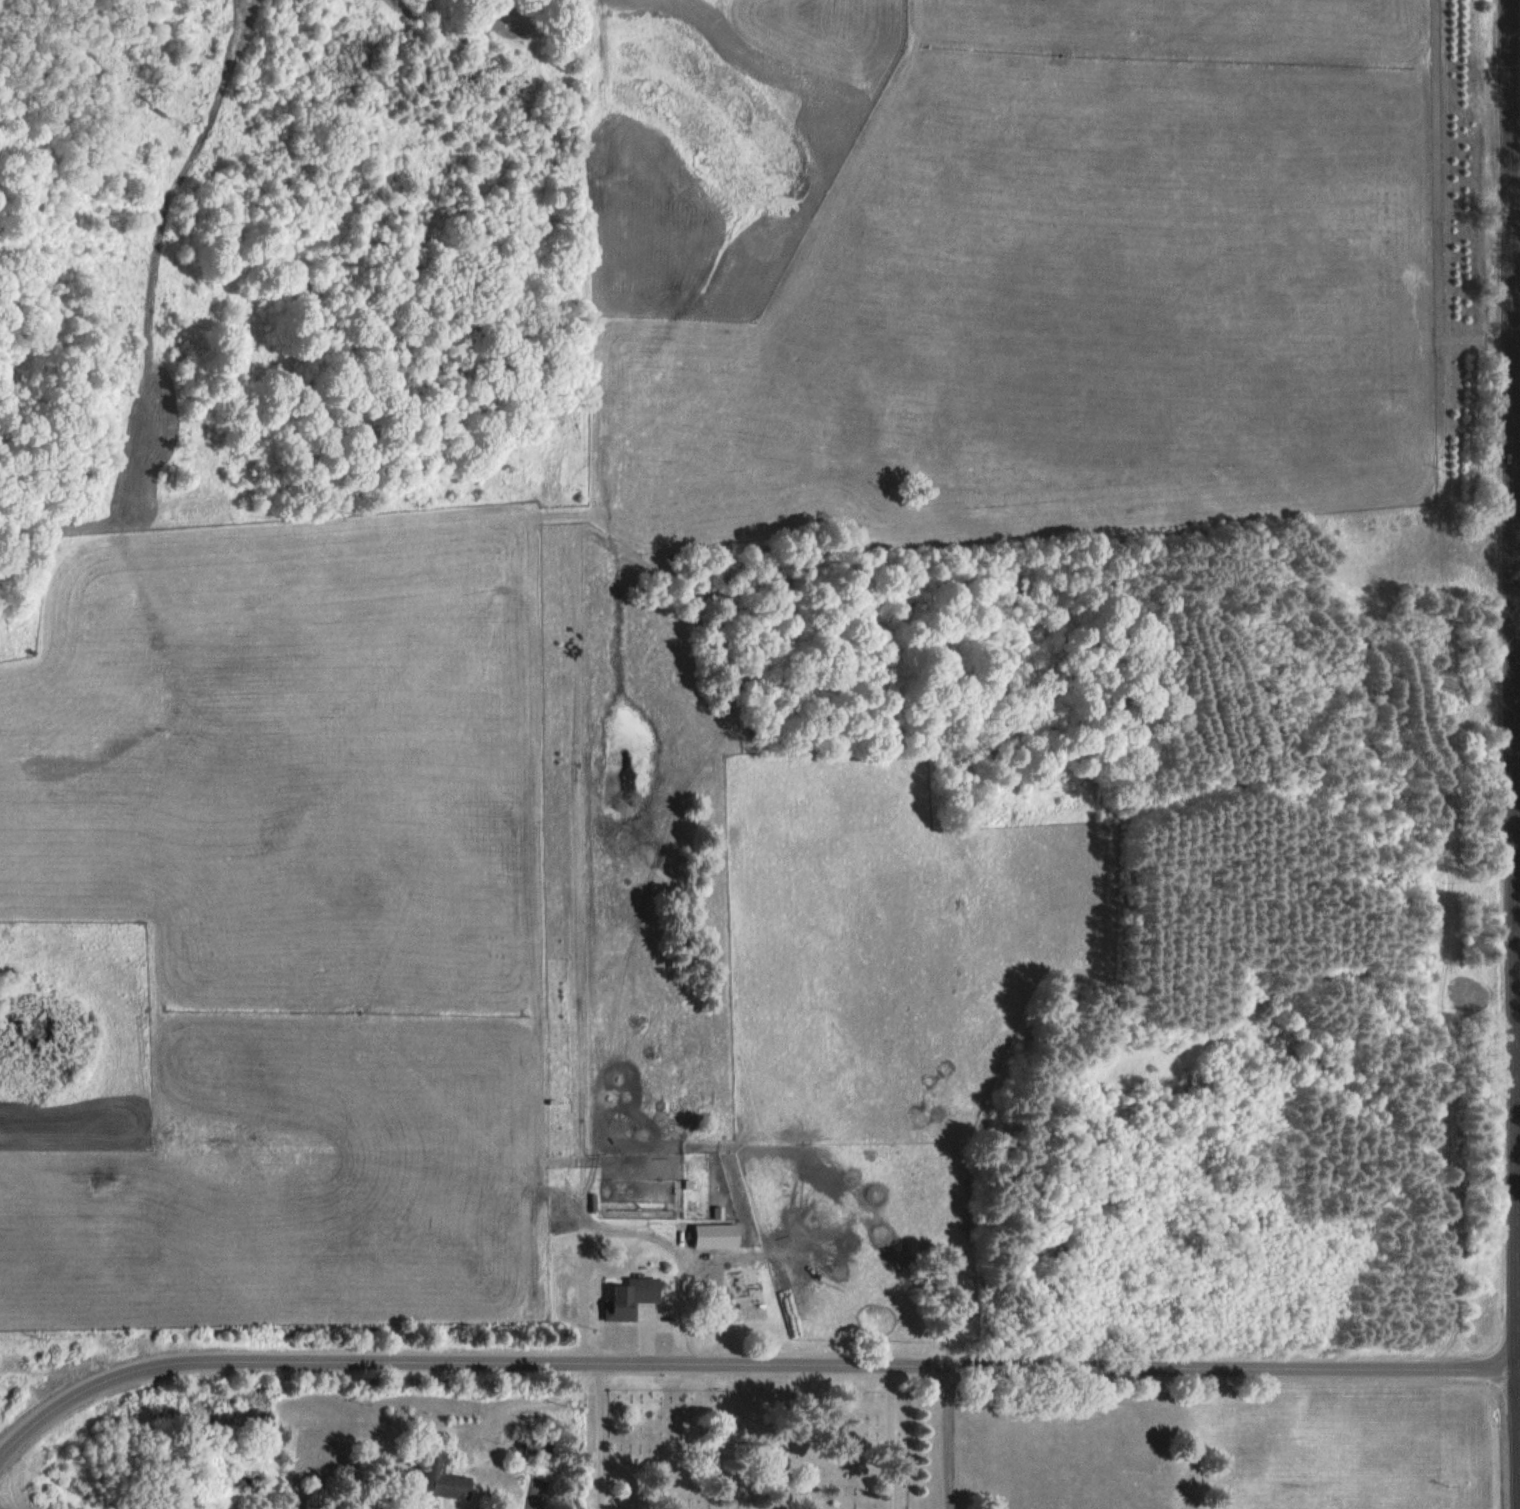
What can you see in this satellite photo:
road: (1515, 458)
building: (638, 1201)
building: (574, 1228)
building: (718, 1235)
building: (631, 1296)
road: (745, 1370)
road: (591, 1439)
road: (888, 1440)
park: (744, 1441)
building: (541, 1445)
building: (447, 1478)

